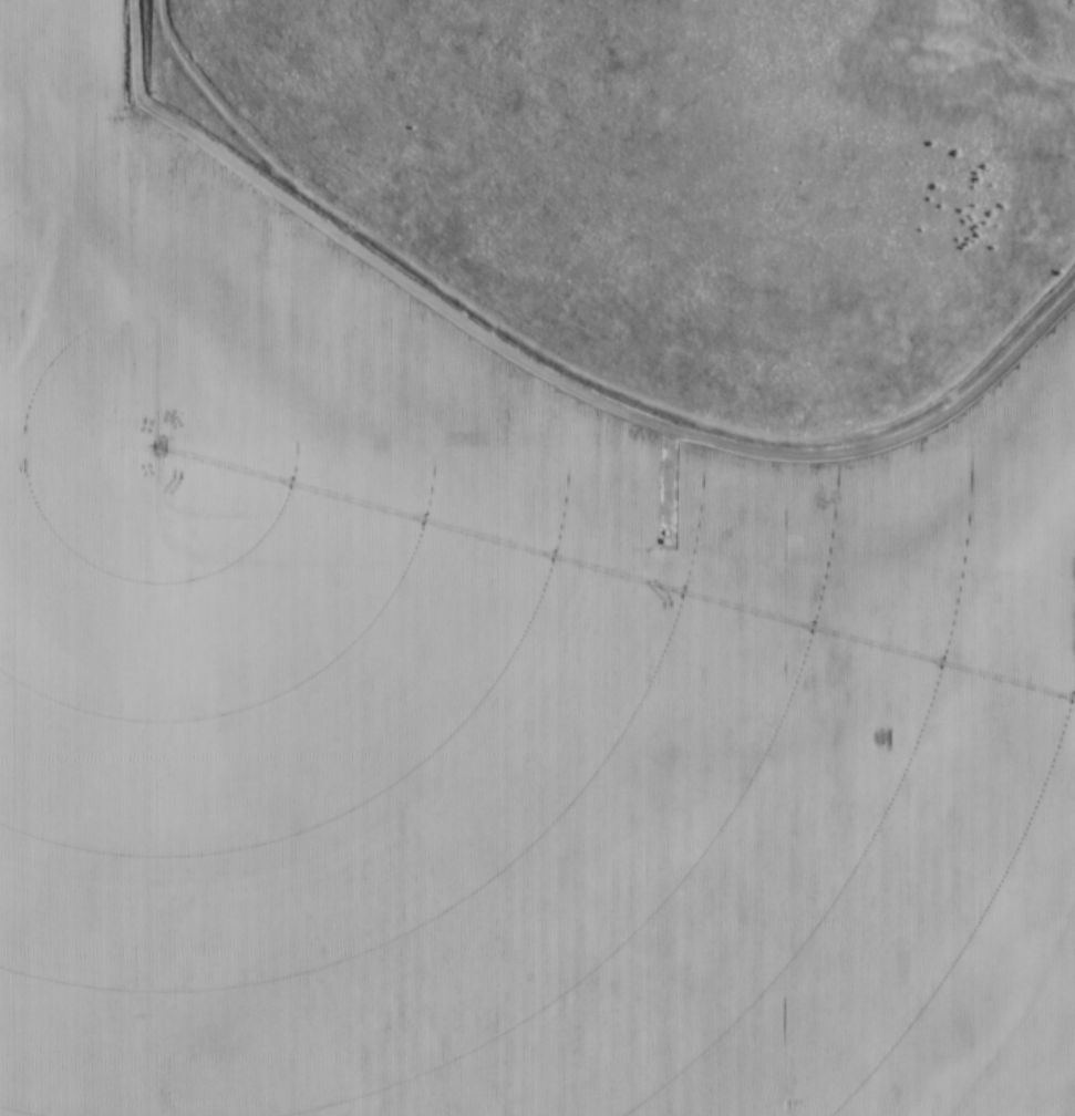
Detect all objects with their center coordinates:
crop: (488, 692)

